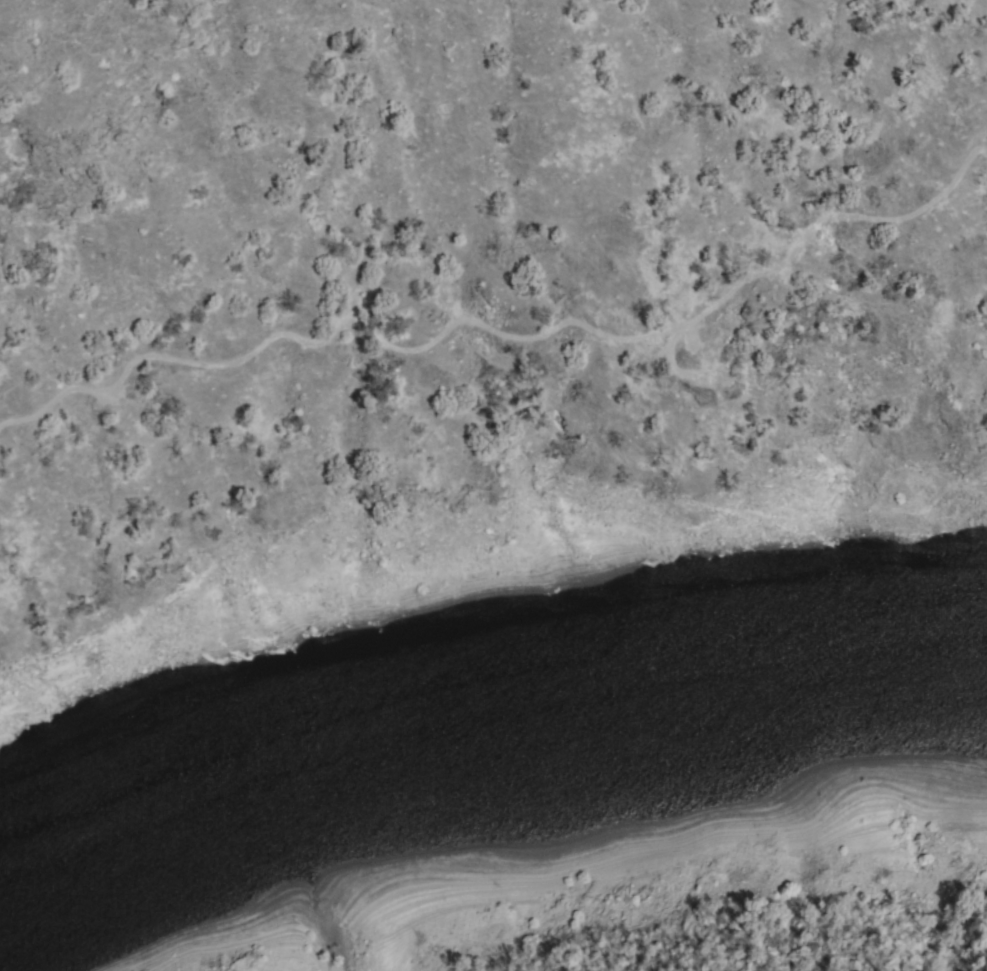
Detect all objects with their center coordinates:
power tower: (700, 399)
river: (910, 748)
river: (814, 751)
river: (689, 768)
river: (321, 800)
river: (479, 818)
river: (136, 868)

